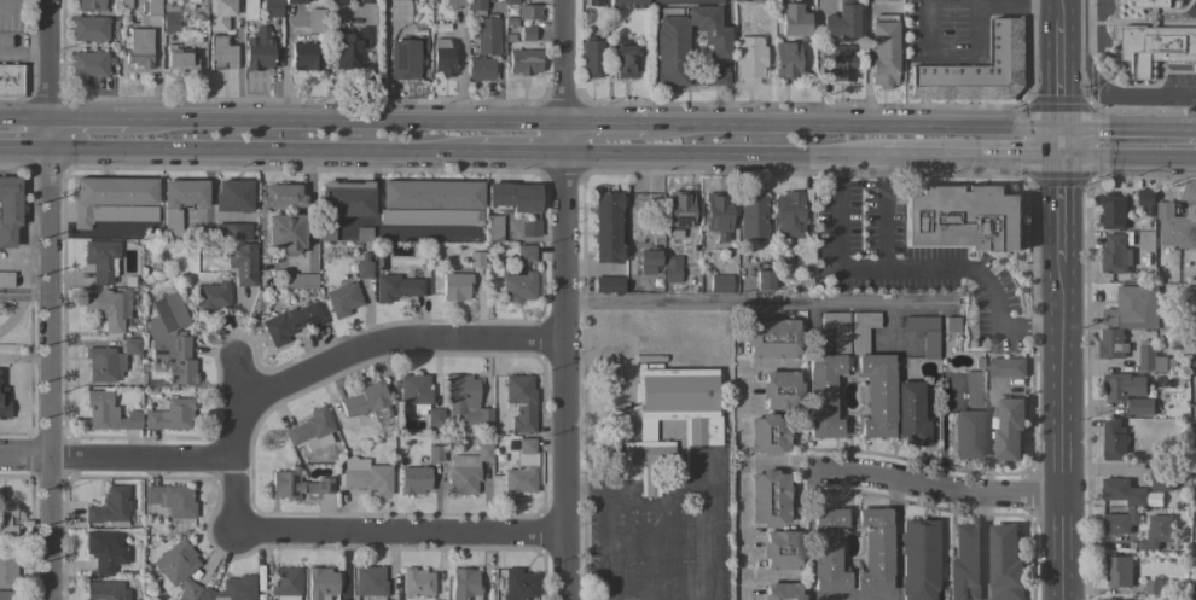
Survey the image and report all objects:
building: (872, 0)
building: (294, 1)
building: (336, 1)
building: (367, 1)
building: (687, 1)
building: (764, 1)
building: (594, 2)
building: (124, 4)
building: (453, 4)
building: (627, 4)
road: (973, 4)
building: (89, 5)
building: (151, 7)
building: (476, 7)
building: (272, 8)
road: (1062, 10)
building: (198, 11)
building: (528, 12)
building: (219, 13)
building: (169, 17)
building: (793, 18)
building: (315, 21)
building: (841, 21)
building: (89, 28)
building: (527, 34)
building: (1155, 42)
building: (139, 47)
building: (349, 47)
building: (259, 49)
building: (484, 49)
building: (669, 51)
building: (882, 51)
building: (220, 53)
building: (304, 56)
building: (443, 56)
building: (405, 57)
building: (592, 57)
building: (749, 58)
road: (52, 59)
building: (179, 59)
building: (523, 60)
building: (625, 60)
building: (785, 60)
building: (89, 63)
building: (840, 63)
building: (993, 65)
road: (865, 66)
road: (1059, 75)
road: (563, 78)
building: (11, 81)
building: (928, 82)
road: (1117, 93)
road: (27, 118)
road: (89, 120)
road: (343, 123)
road: (603, 129)
road: (852, 129)
traffic signals: (1059, 132)
road: (1127, 132)
road: (1058, 148)
road: (27, 151)
road: (262, 155)
road: (516, 157)
road: (718, 159)
road: (966, 163)
traffic signals: (1058, 165)
road: (1127, 165)
building: (431, 194)
building: (232, 196)
building: (280, 197)
building: (512, 197)
building: (1146, 199)
building: (112, 200)
building: (180, 202)
building: (343, 204)
building: (8, 209)
building: (1113, 211)
building: (678, 212)
building: (789, 214)
road: (883, 214)
road: (1058, 214)
building: (716, 215)
building: (751, 216)
building: (430, 217)
building: (964, 217)
building: (606, 227)
building: (1175, 227)
building: (494, 228)
building: (529, 228)
building: (232, 232)
building: (284, 233)
building: (364, 234)
building: (524, 252)
building: (1116, 256)
building: (101, 260)
building: (476, 260)
building: (648, 261)
building: (242, 263)
road: (915, 266)
building: (362, 269)
building: (670, 272)
building: (6, 279)
building: (764, 280)
building: (294, 281)
building: (454, 284)
building: (608, 284)
building: (720, 284)
building: (518, 286)
building: (395, 287)
building: (799, 287)
road: (27, 292)
building: (213, 295)
building: (342, 299)
road: (757, 302)
building: (104, 308)
building: (1134, 308)
building: (290, 322)
building: (950, 324)
building: (836, 330)
building: (861, 330)
building: (923, 333)
building: (772, 338)
building: (170, 339)
road: (370, 342)
building: (1111, 343)
building: (130, 345)
building: (650, 357)
building: (1150, 357)
road: (54, 359)
building: (134, 360)
building: (1194, 361)
building: (977, 363)
building: (103, 365)
building: (1006, 367)
road: (563, 378)
building: (1124, 386)
building: (780, 390)
building: (414, 392)
building: (823, 395)
building: (876, 395)
building: (466, 401)
building: (367, 402)
building: (519, 402)
building: (4, 403)
building: (1140, 406)
building: (106, 413)
building: (169, 414)
building: (910, 414)
building: (434, 418)
building: (968, 421)
road: (739, 426)
building: (1008, 427)
building: (310, 430)
building: (701, 430)
road: (1058, 431)
building: (767, 433)
building: (1114, 439)
building: (1195, 442)
building: (435, 453)
road: (118, 459)
building: (499, 459)
road: (782, 464)
building: (466, 470)
building: (522, 470)
building: (1161, 477)
building: (368, 478)
building: (413, 479)
building: (296, 485)
road: (933, 487)
road: (606, 491)
building: (1122, 491)
building: (767, 499)
building: (1195, 499)
building: (170, 500)
building: (110, 507)
building: (6, 518)
building: (1120, 522)
road: (703, 526)
road: (368, 530)
road: (742, 531)
building: (1156, 531)
road: (622, 532)
road: (807, 534)
road: (895, 538)
building: (109, 549)
building: (780, 551)
building: (826, 551)
building: (873, 551)
building: (917, 559)
building: (1194, 559)
building: (964, 564)
building: (1005, 564)
building: (7, 567)
building: (176, 569)
building: (1119, 570)
building: (284, 581)
building: (368, 581)
building: (416, 582)
building: (320, 583)
building: (464, 583)
building: (517, 584)
building: (167, 587)
building: (1156, 587)
building: (231, 589)
building: (105, 590)
building: (782, 592)
building: (8, 595)
building: (1108, 599)
building: (1125, 599)

